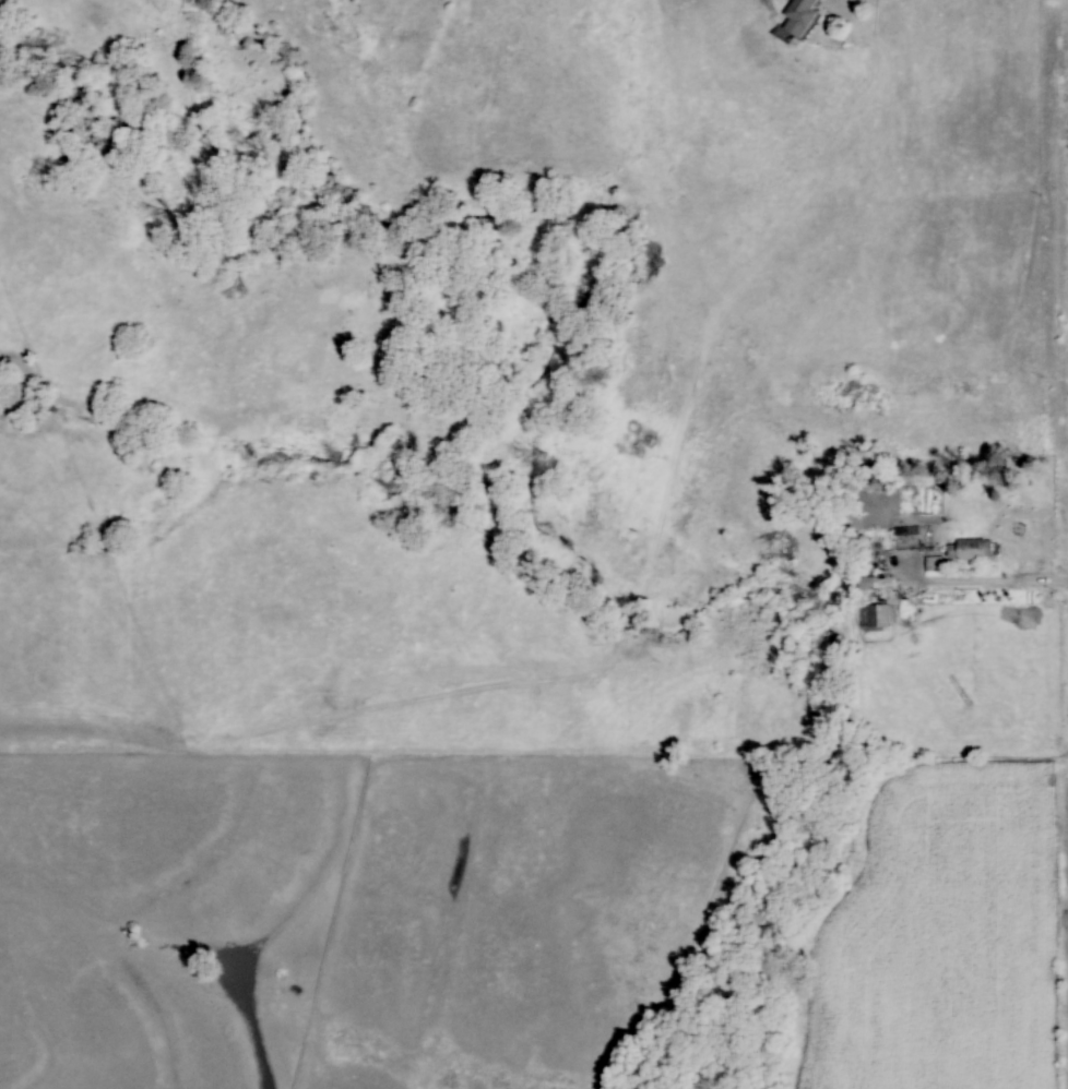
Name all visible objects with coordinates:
road: (834, 3)
building: (800, 16)
building: (971, 550)
road: (987, 581)
building: (866, 584)
building: (878, 615)

